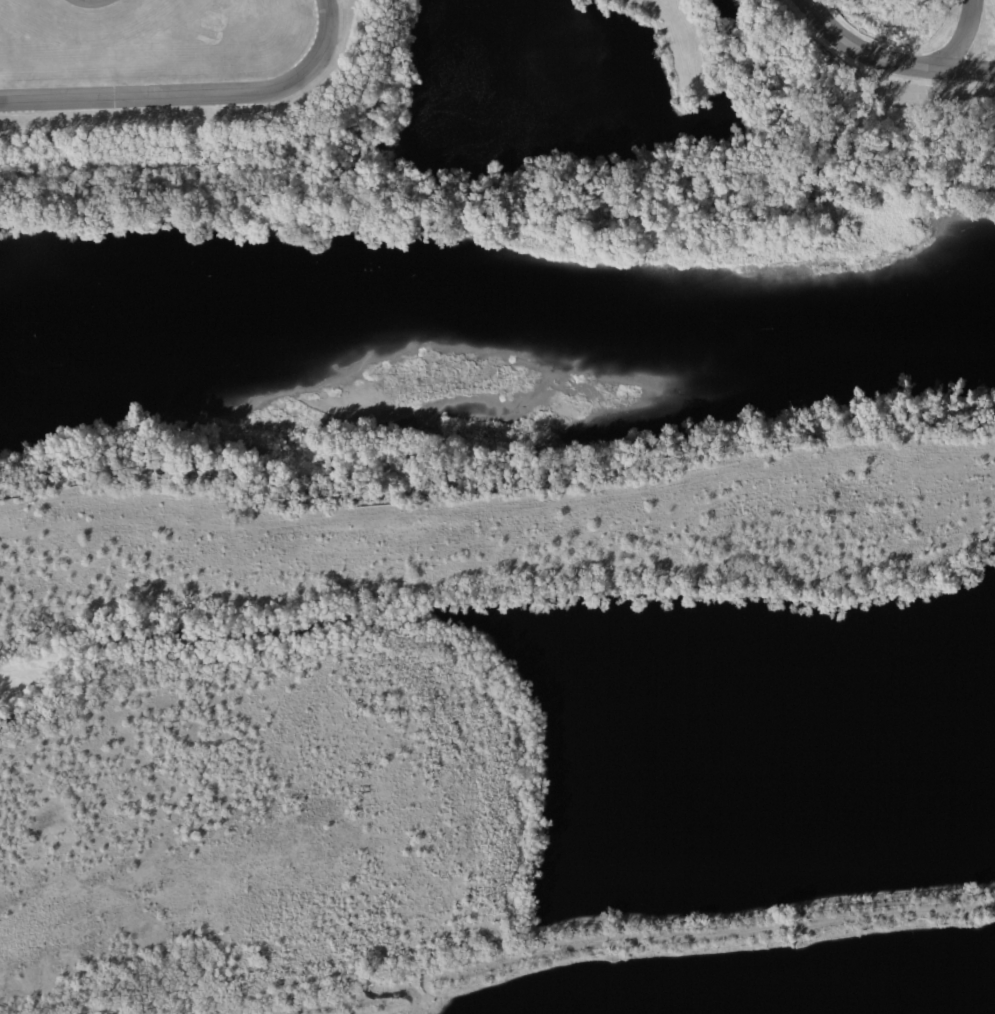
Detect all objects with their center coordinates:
raceway: (900, 62)
raceway: (959, 68)
raceway: (195, 93)
park: (531, 146)
river: (493, 329)

